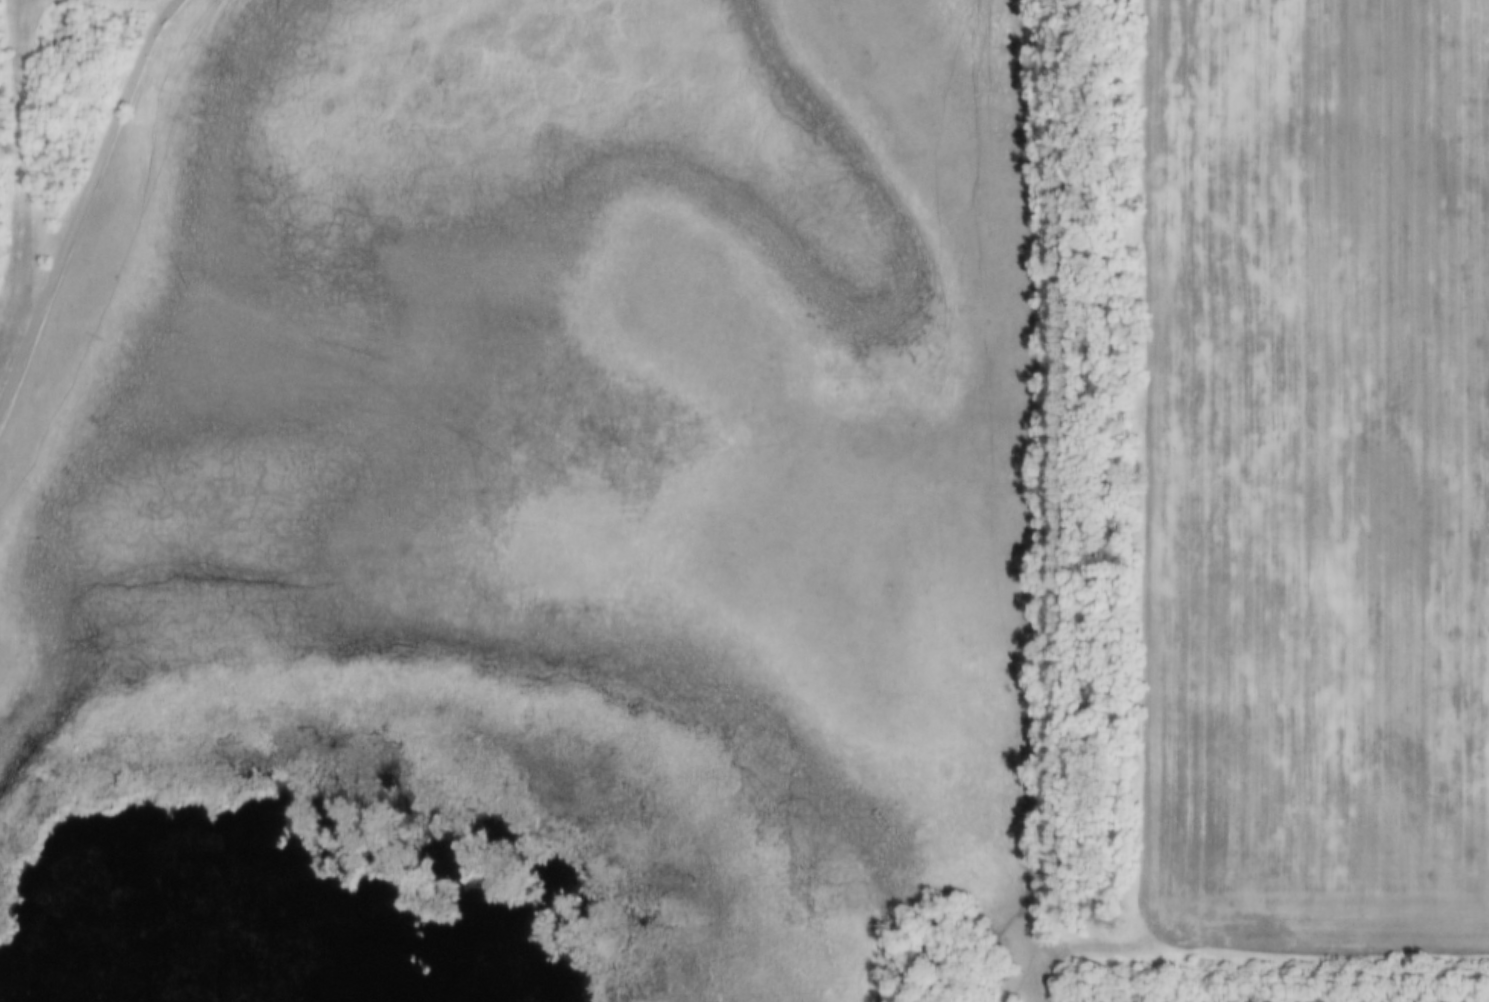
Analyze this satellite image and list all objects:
road: (81, 197)
road: (1070, 951)

